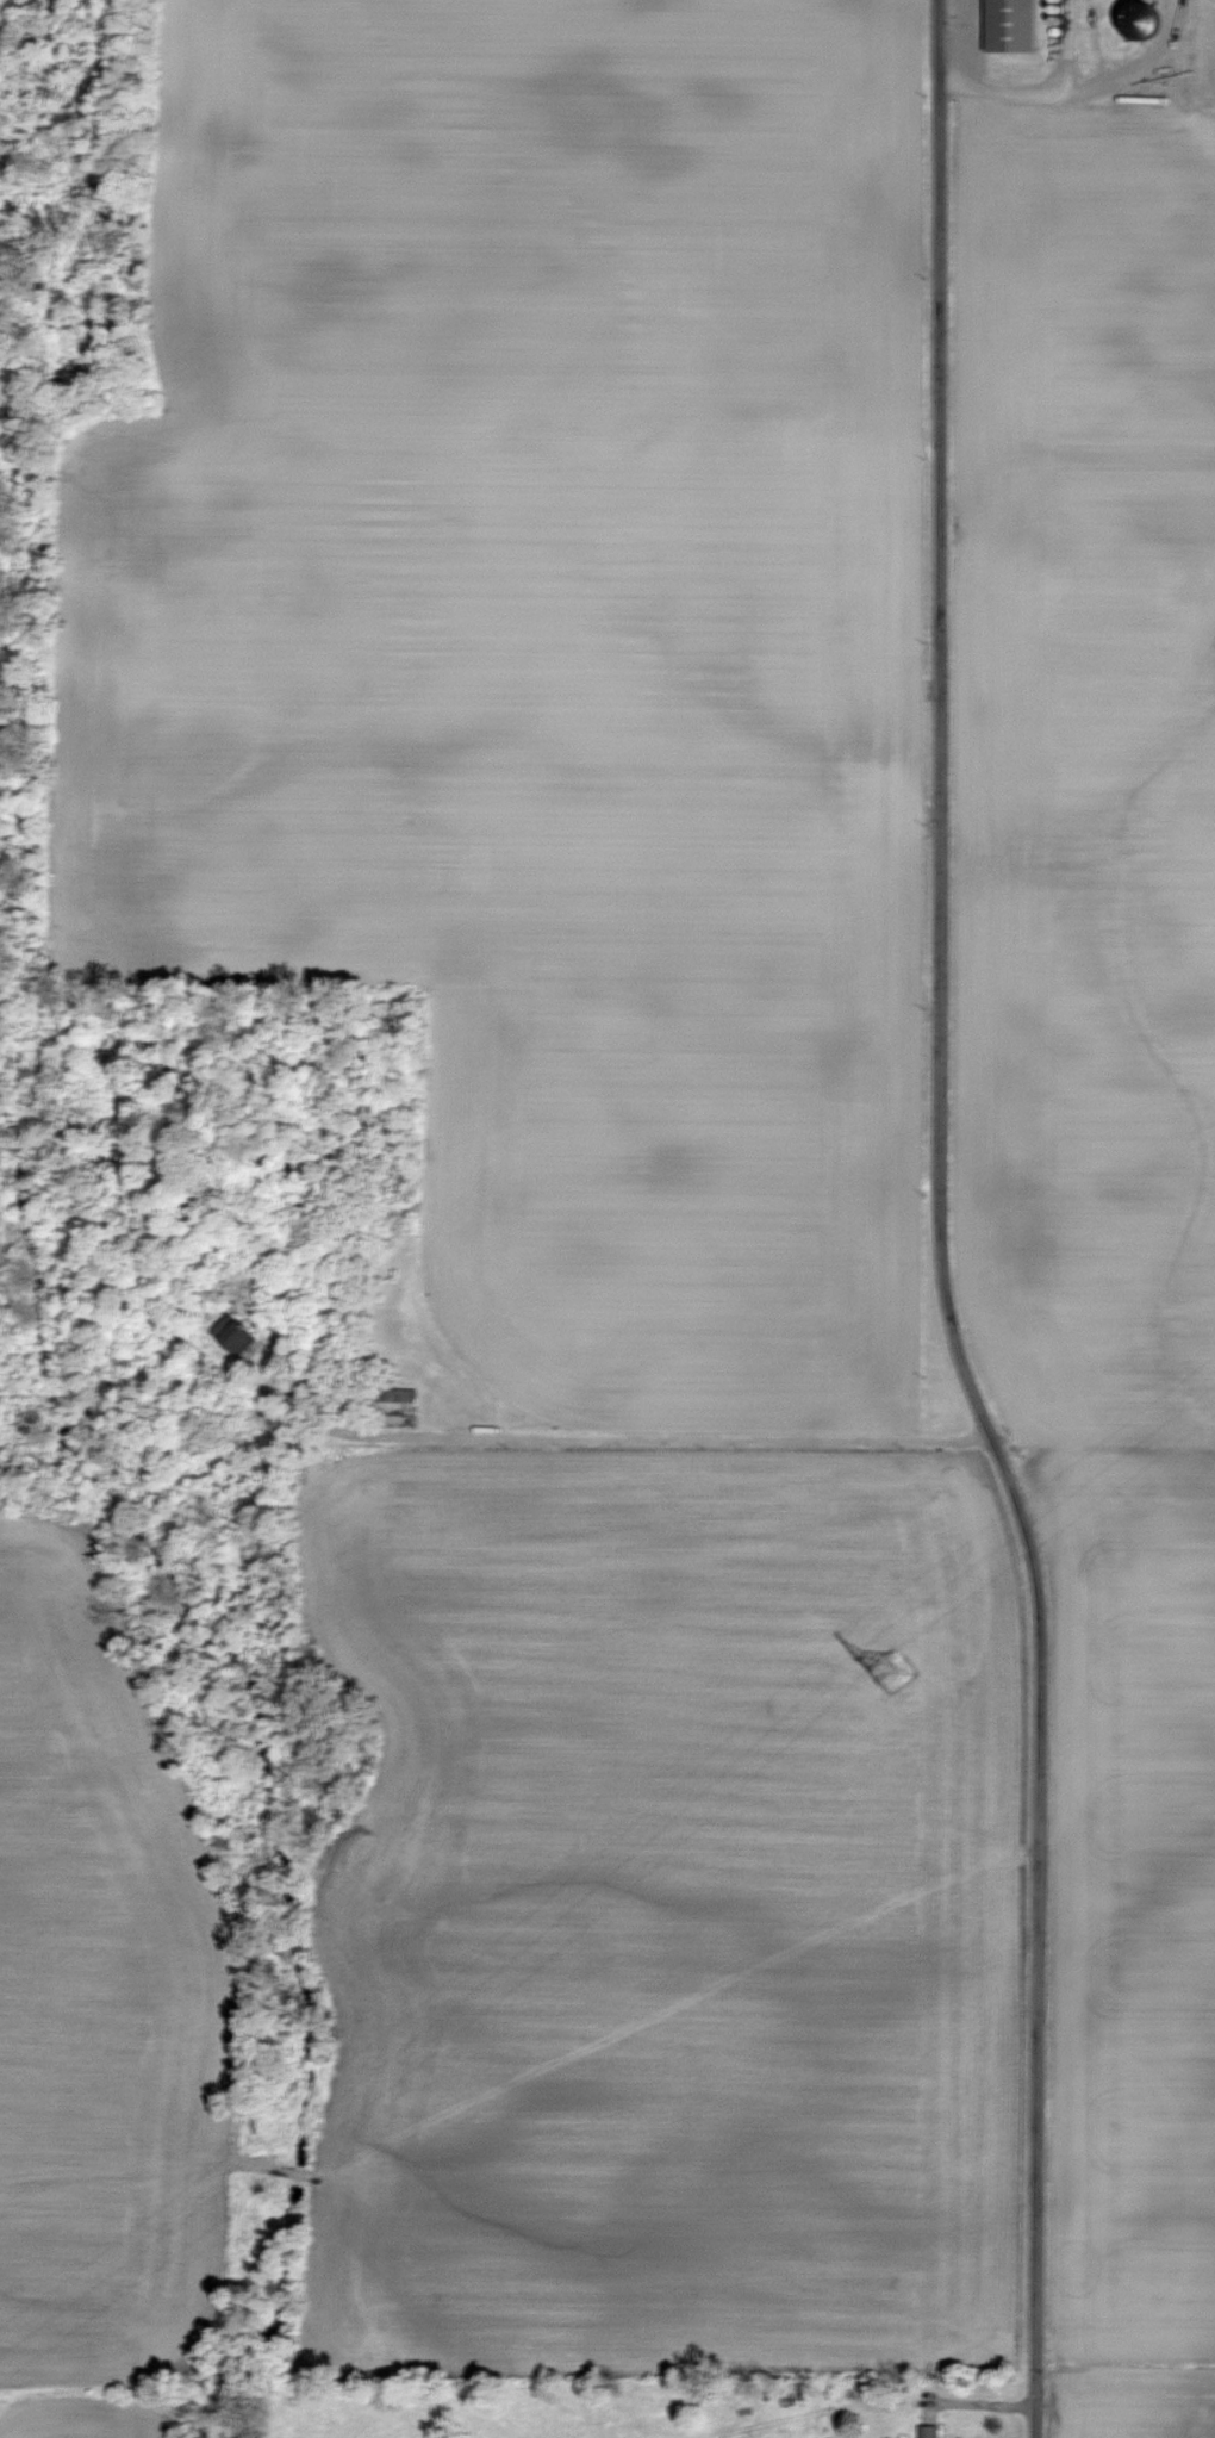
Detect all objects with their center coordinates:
building: (1009, 24)
road: (1064, 48)
road: (1080, 89)
road: (939, 1226)
building: (231, 1339)
building: (393, 1403)
road: (630, 1437)
power tower: (886, 1671)
building: (927, 2431)

